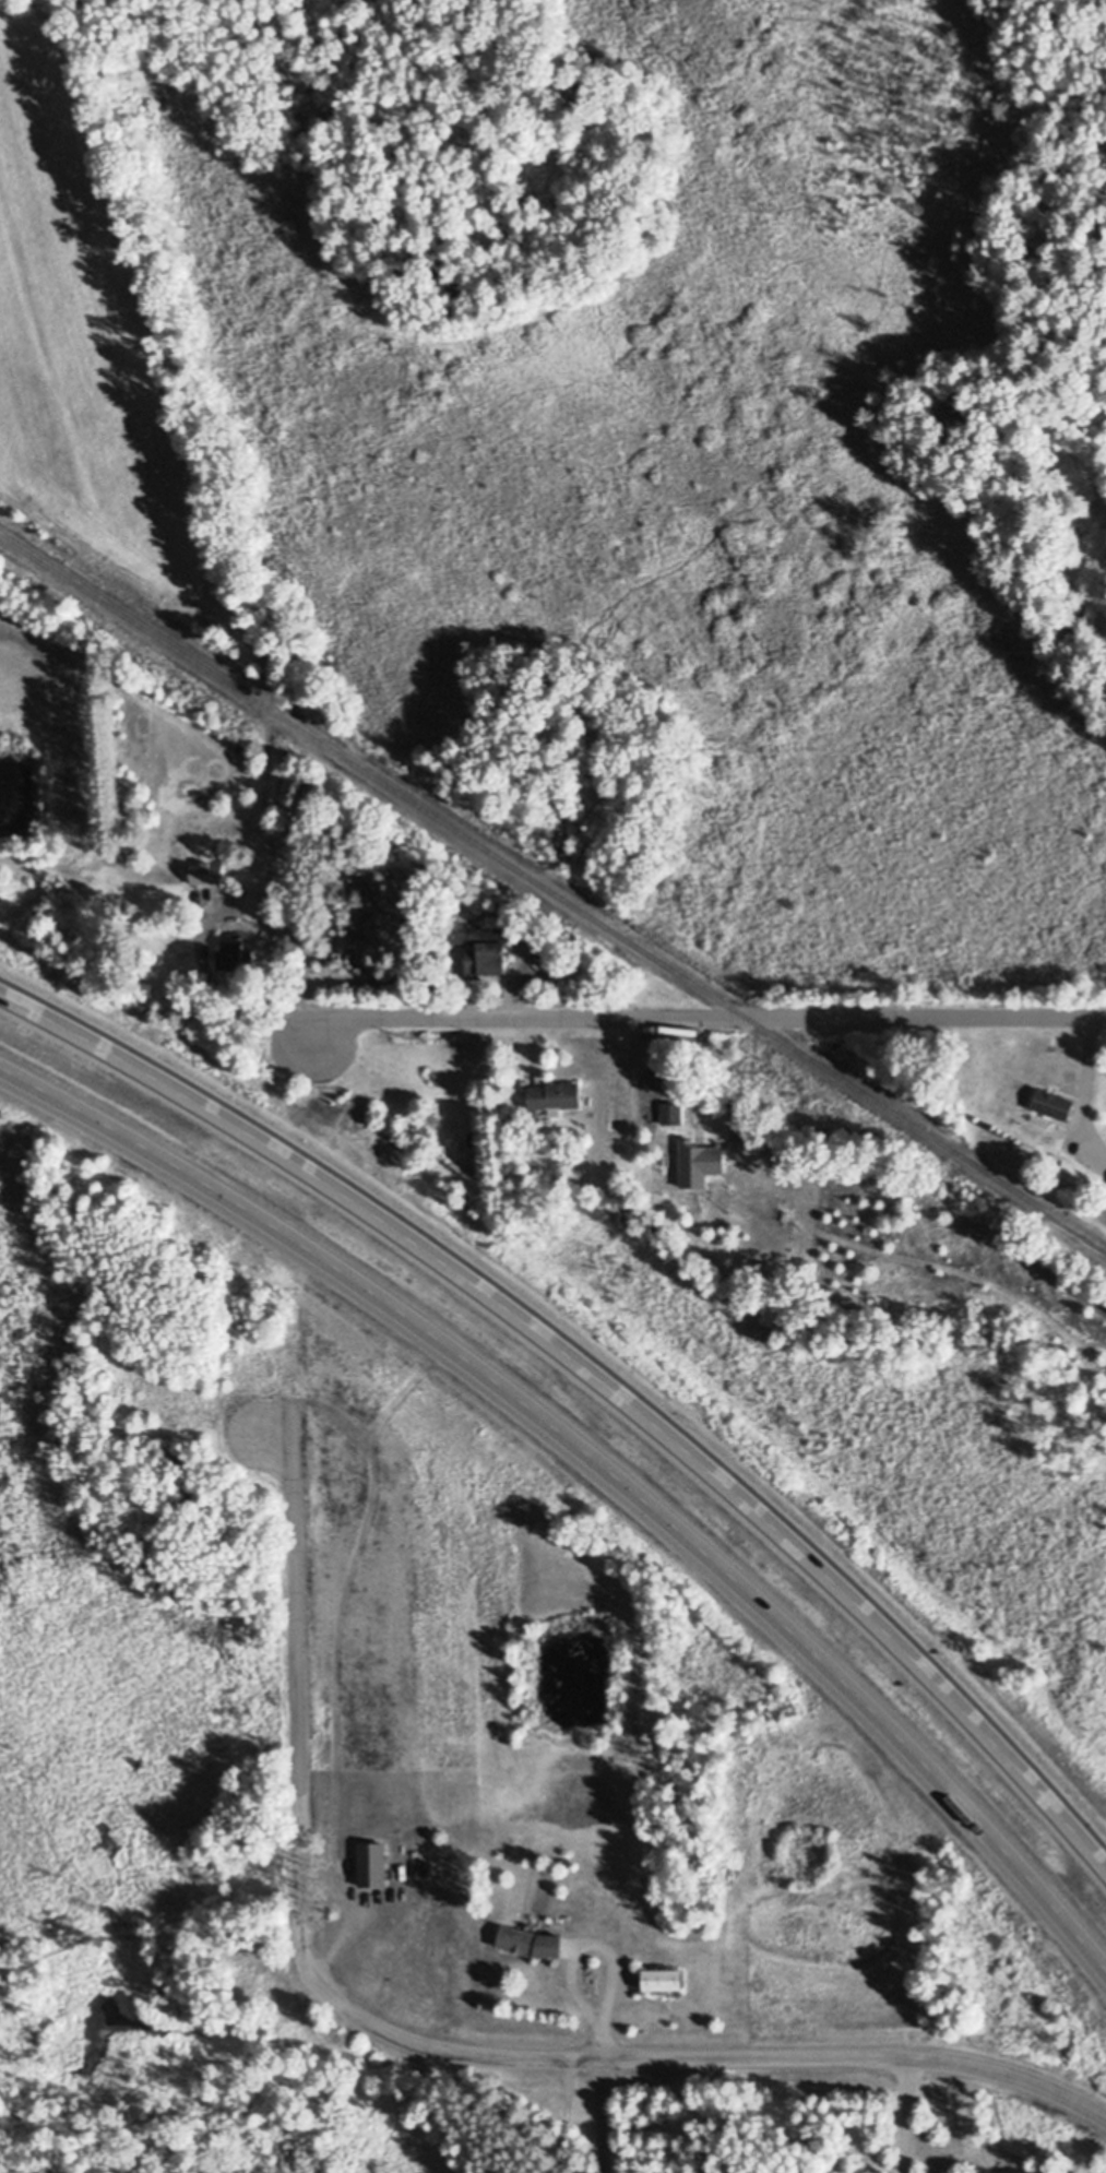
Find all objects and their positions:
building: (206, 871)
railway: (551, 892)
building: (488, 953)
road: (702, 1017)
road: (657, 1080)
road: (1078, 1092)
building: (556, 1097)
building: (1055, 1103)
building: (673, 1113)
road: (596, 1374)
road: (598, 1464)
building: (374, 1865)
building: (533, 1943)
road: (568, 1944)
building: (666, 1981)
road: (428, 2042)
road: (899, 2114)
road: (600, 2116)

